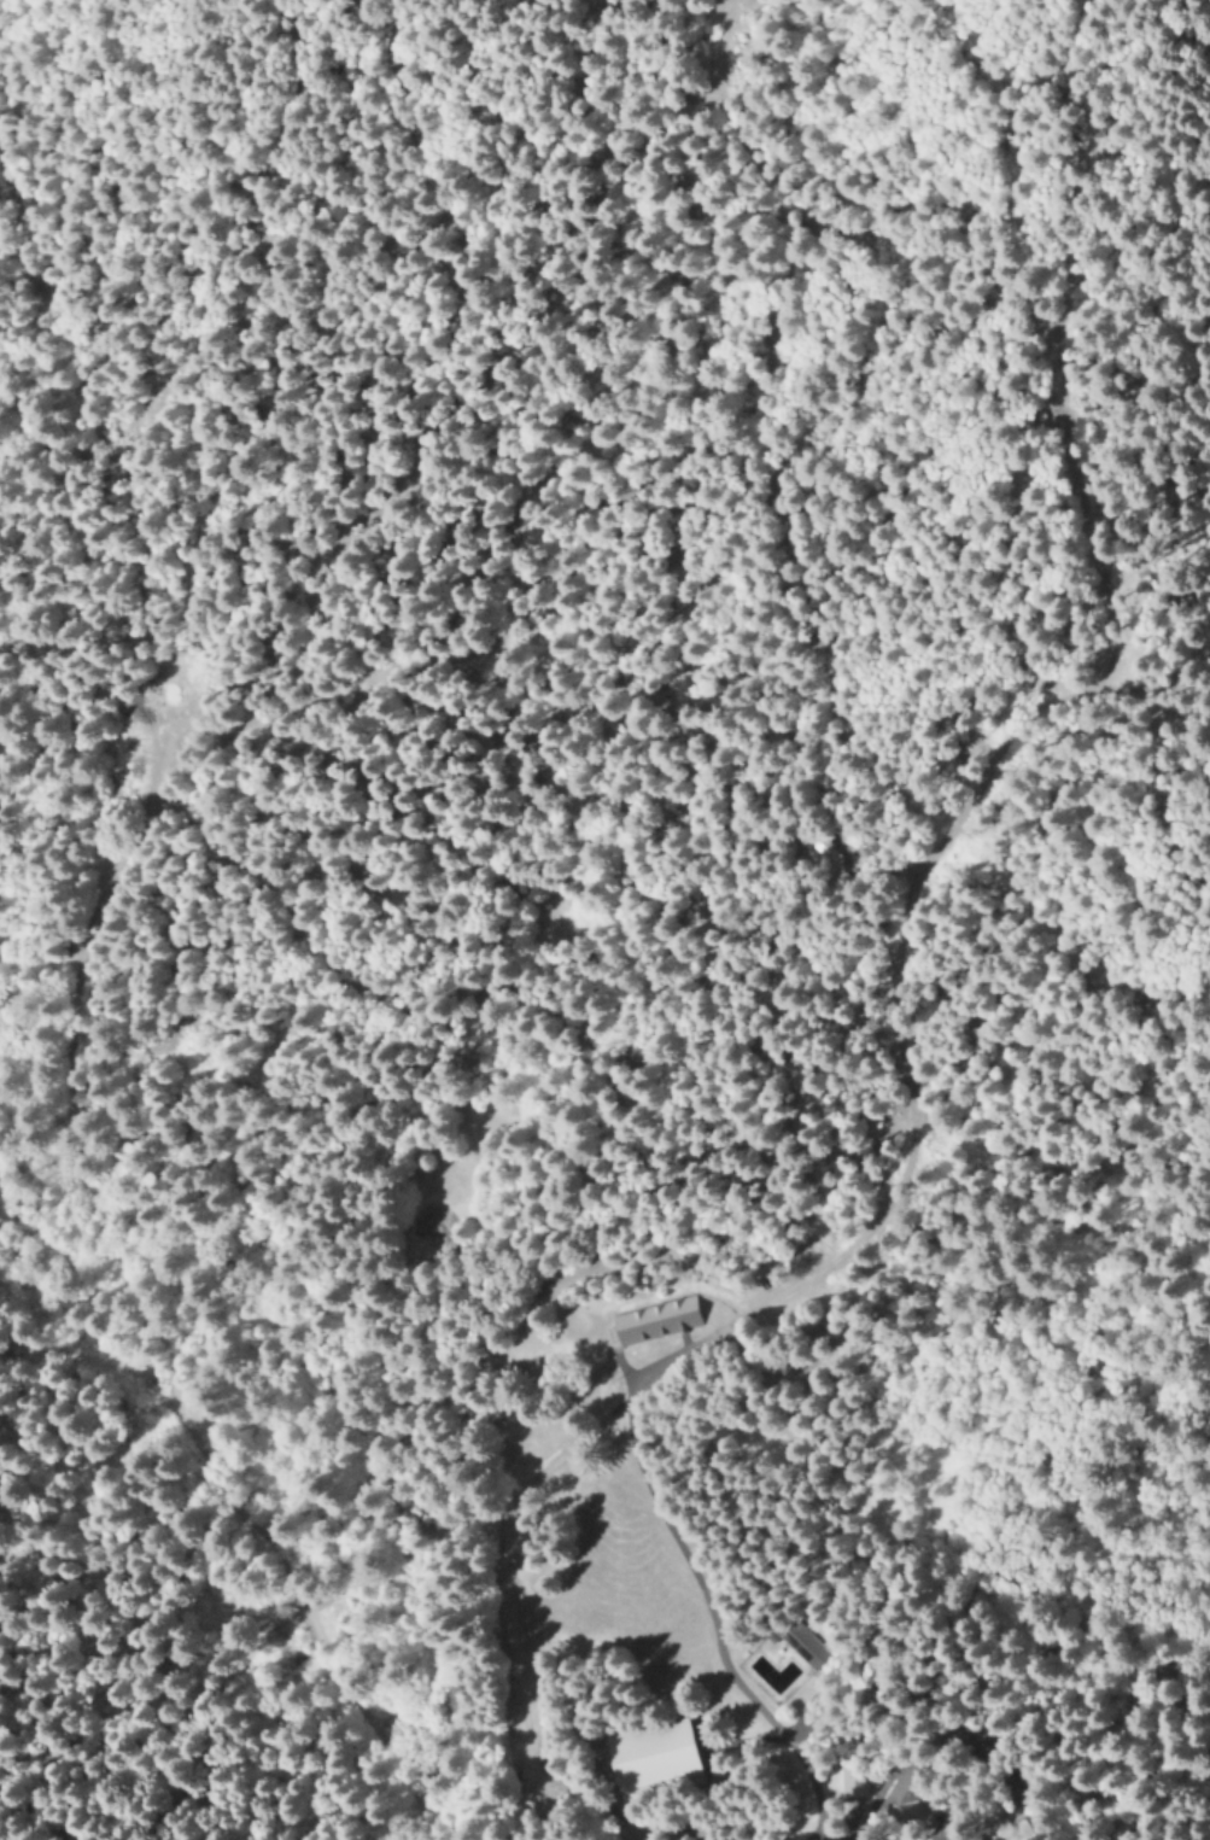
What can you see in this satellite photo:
building: (656, 1324)
building: (809, 1648)
building: (650, 1759)
building: (902, 1799)

